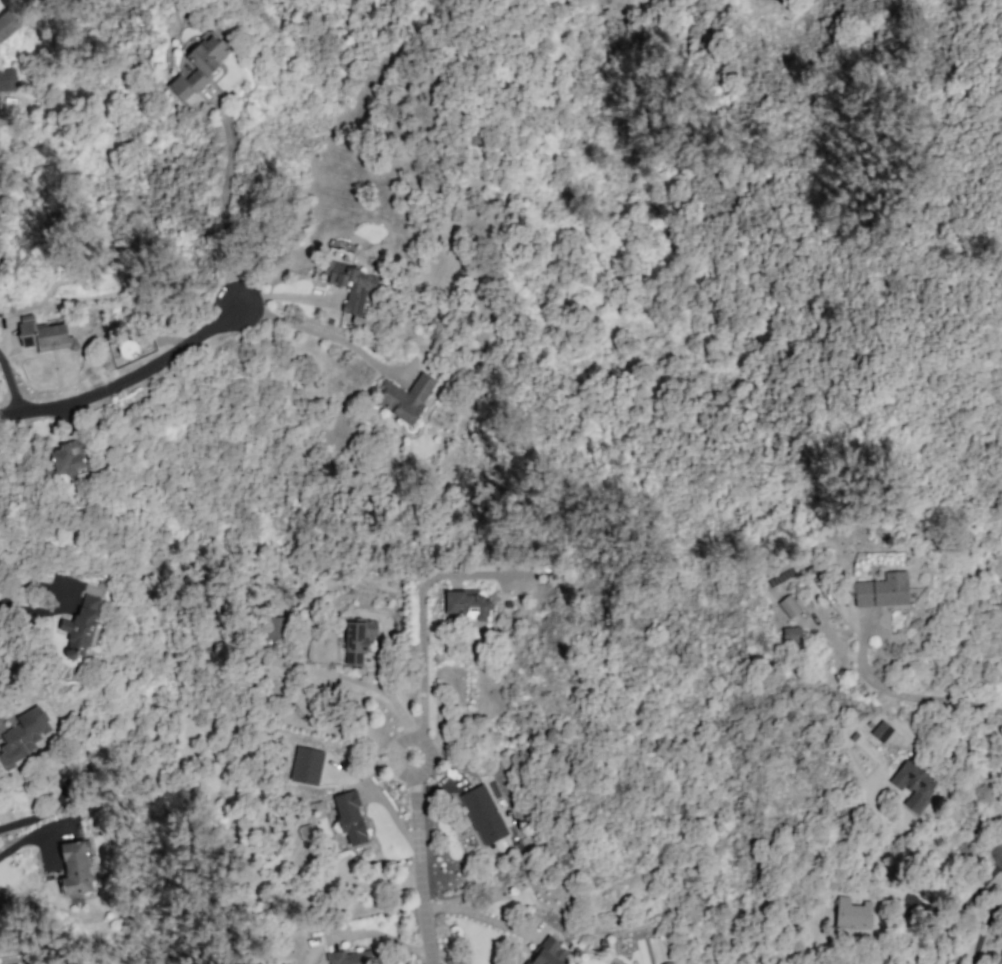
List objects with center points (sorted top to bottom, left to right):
building: (8, 24)
building: (199, 69)
road: (223, 200)
building: (352, 288)
road: (315, 334)
building: (44, 336)
building: (127, 350)
road: (124, 379)
building: (405, 397)
building: (68, 458)
building: (882, 591)
road: (31, 603)
building: (466, 604)
building: (788, 606)
building: (81, 627)
building: (278, 627)
building: (792, 634)
building: (357, 640)
road: (901, 694)
building: (881, 731)
building: (24, 735)
road: (424, 735)
building: (306, 766)
building: (913, 784)
road: (44, 813)
building: (483, 814)
building: (350, 817)
road: (17, 845)
building: (75, 868)
road: (963, 904)
building: (852, 914)
road: (482, 917)
road: (983, 927)
building: (549, 953)
building: (349, 957)

